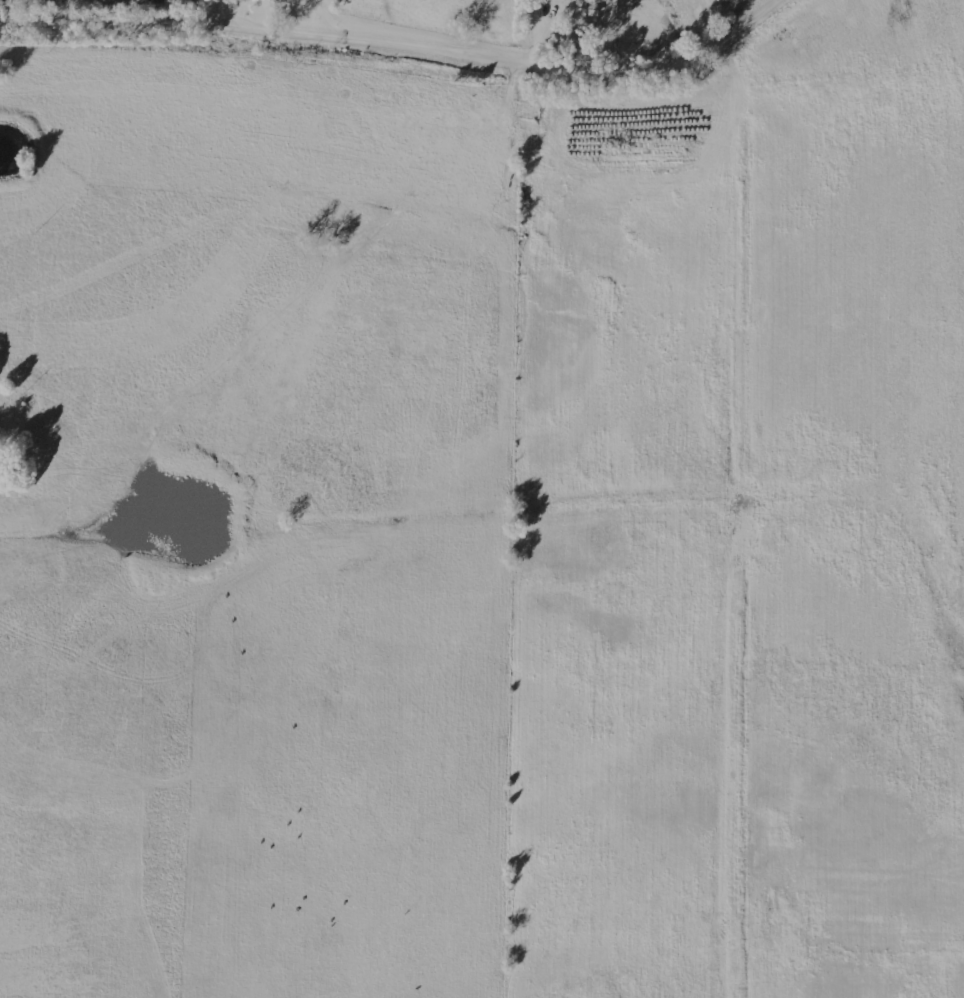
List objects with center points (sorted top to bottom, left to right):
road: (235, 14)
road: (743, 29)
road: (352, 41)

